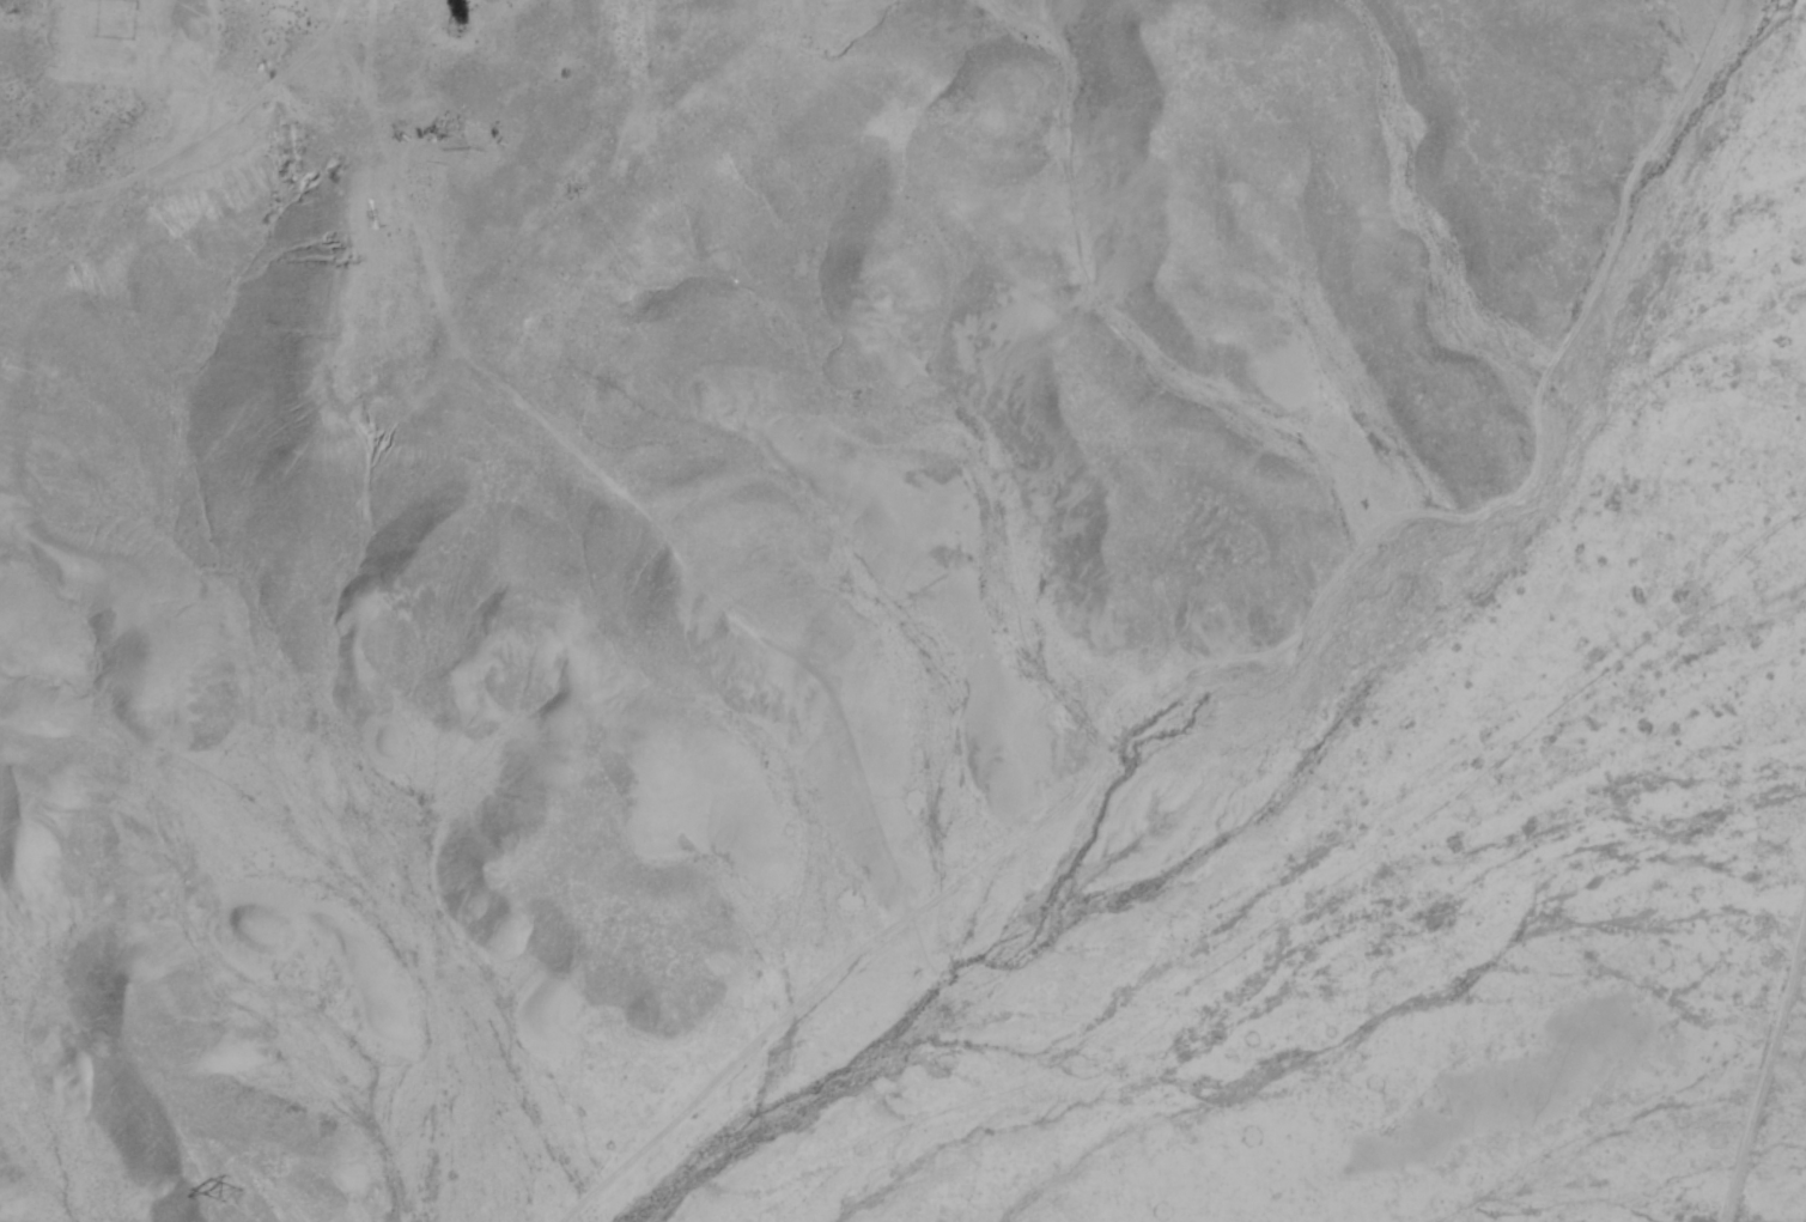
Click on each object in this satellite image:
road: (1770, 1054)
power tower: (238, 1193)

